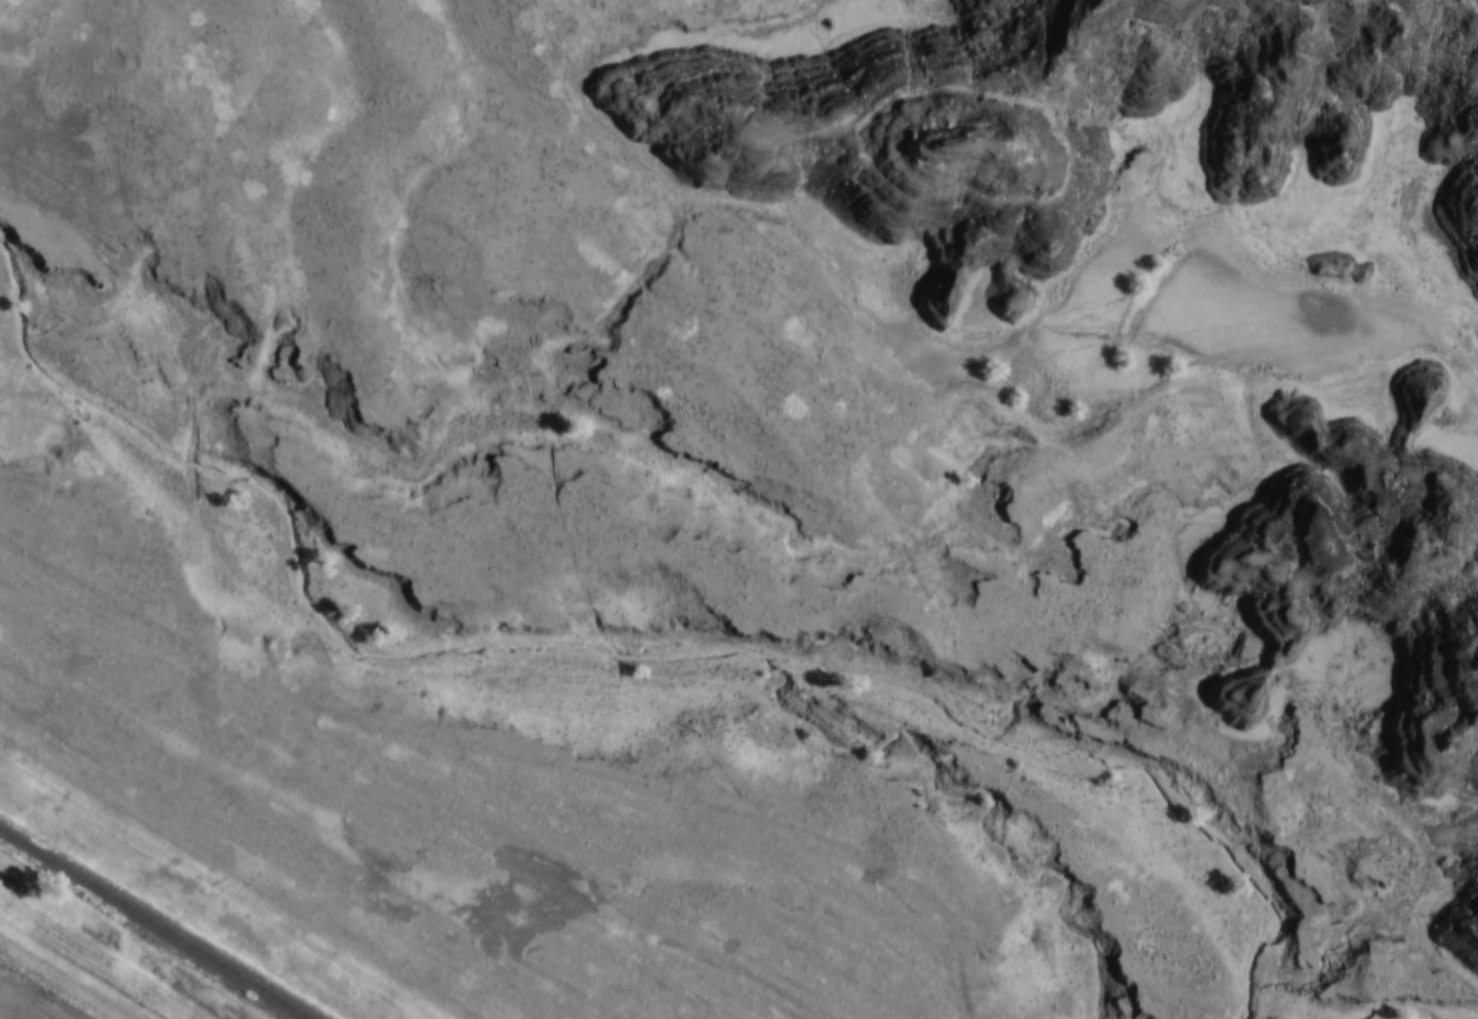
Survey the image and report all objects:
railway: (154, 924)
road: (61, 980)

